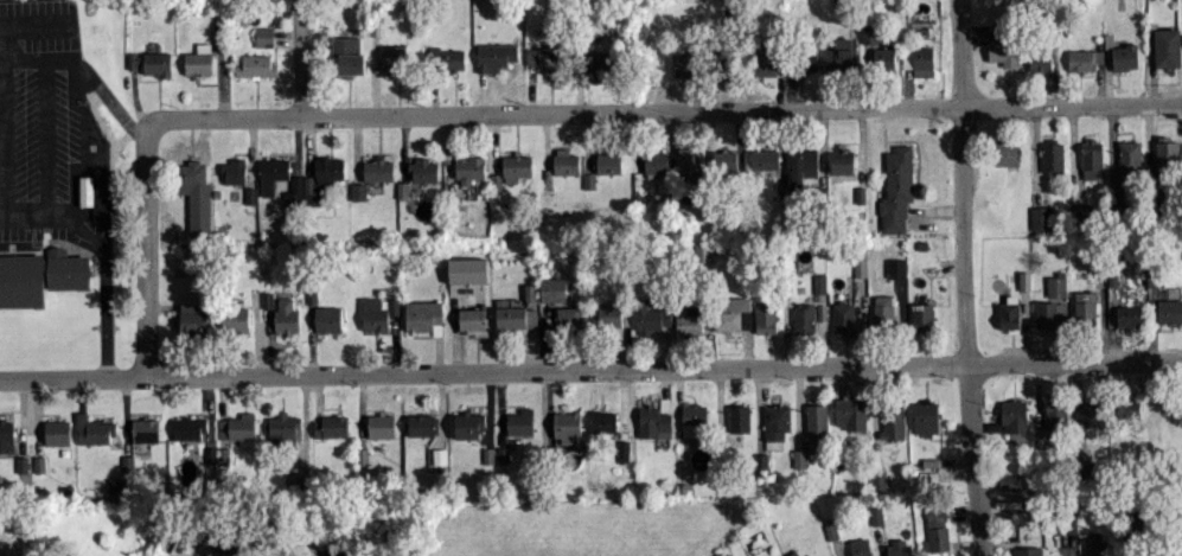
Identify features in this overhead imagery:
road: (34, 18)
building: (869, 32)
building: (263, 36)
building: (1167, 46)
building: (1005, 50)
building: (347, 53)
building: (842, 55)
building: (496, 56)
building: (543, 56)
building: (1125, 56)
road: (305, 57)
building: (134, 58)
building: (392, 58)
building: (447, 58)
building: (809, 58)
building: (884, 58)
building: (1086, 58)
building: (198, 59)
building: (919, 59)
building: (1043, 60)
building: (156, 63)
building: (256, 65)
building: (684, 65)
building: (768, 65)
road: (83, 102)
road: (976, 103)
road: (114, 107)
road: (455, 113)
road: (2, 114)
parking lot: (46, 126)
building: (1005, 152)
building: (1168, 152)
building: (1130, 155)
building: (1053, 156)
building: (1092, 158)
building: (765, 159)
building: (842, 160)
building: (566, 161)
building: (656, 161)
building: (724, 161)
building: (608, 162)
building: (804, 162)
building: (690, 164)
building: (517, 166)
building: (378, 168)
building: (423, 170)
building: (469, 170)
building: (234, 171)
building: (191, 172)
building: (273, 173)
building: (589, 179)
building: (496, 180)
building: (314, 181)
building: (896, 188)
building: (358, 190)
building: (100, 196)
building: (1041, 217)
road: (30, 249)
road: (106, 249)
building: (703, 251)
road: (148, 255)
building: (860, 260)
building: (895, 267)
building: (467, 269)
building: (38, 275)
road: (967, 277)
building: (1023, 280)
building: (819, 282)
building: (1056, 286)
building: (552, 288)
building: (530, 292)
building: (267, 299)
building: (394, 305)
building: (1085, 307)
building: (882, 308)
building: (1169, 311)
building: (733, 313)
building: (373, 314)
building: (609, 314)
building: (1009, 314)
building: (286, 315)
building: (424, 315)
building: (1129, 315)
building: (193, 317)
building: (517, 317)
building: (569, 317)
building: (650, 317)
building: (843, 317)
building: (922, 317)
building: (1046, 317)
building: (472, 318)
building: (804, 318)
building: (236, 319)
building: (327, 319)
building: (689, 319)
building: (765, 319)
road: (590, 369)
building: (1129, 408)
building: (1055, 411)
building: (850, 413)
building: (1090, 414)
building: (1014, 415)
building: (739, 417)
building: (926, 417)
building: (694, 418)
building: (603, 420)
building: (520, 421)
building: (654, 421)
building: (893, 421)
building: (422, 423)
building: (469, 423)
building: (775, 424)
building: (237, 426)
building: (330, 426)
building: (381, 426)
building: (567, 426)
building: (189, 427)
building: (283, 427)
building: (816, 427)
building: (94, 429)
building: (146, 429)
building: (57, 432)
building: (6, 435)
building: (622, 449)
building: (439, 455)
building: (799, 458)
building: (21, 464)
building: (294, 475)
building: (878, 480)
building: (1009, 480)
building: (937, 529)
building: (860, 547)
building: (900, 548)
building: (1097, 548)
building: (1028, 550)
building: (729, 554)
building: (792, 554)

